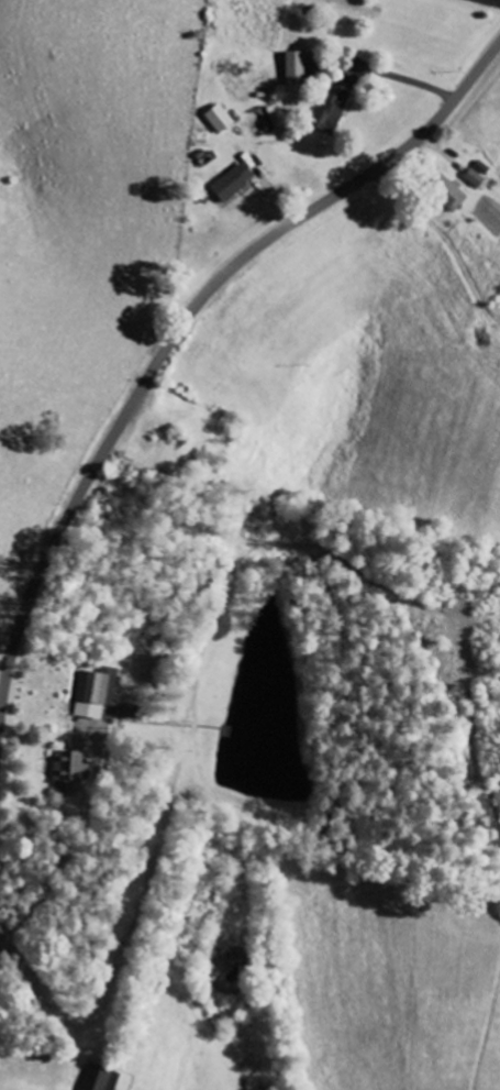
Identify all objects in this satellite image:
building: (297, 69)
building: (336, 108)
building: (221, 120)
building: (478, 179)
building: (235, 183)
building: (454, 194)
road: (176, 338)
building: (98, 692)
building: (132, 712)
building: (74, 771)
building: (102, 1079)

